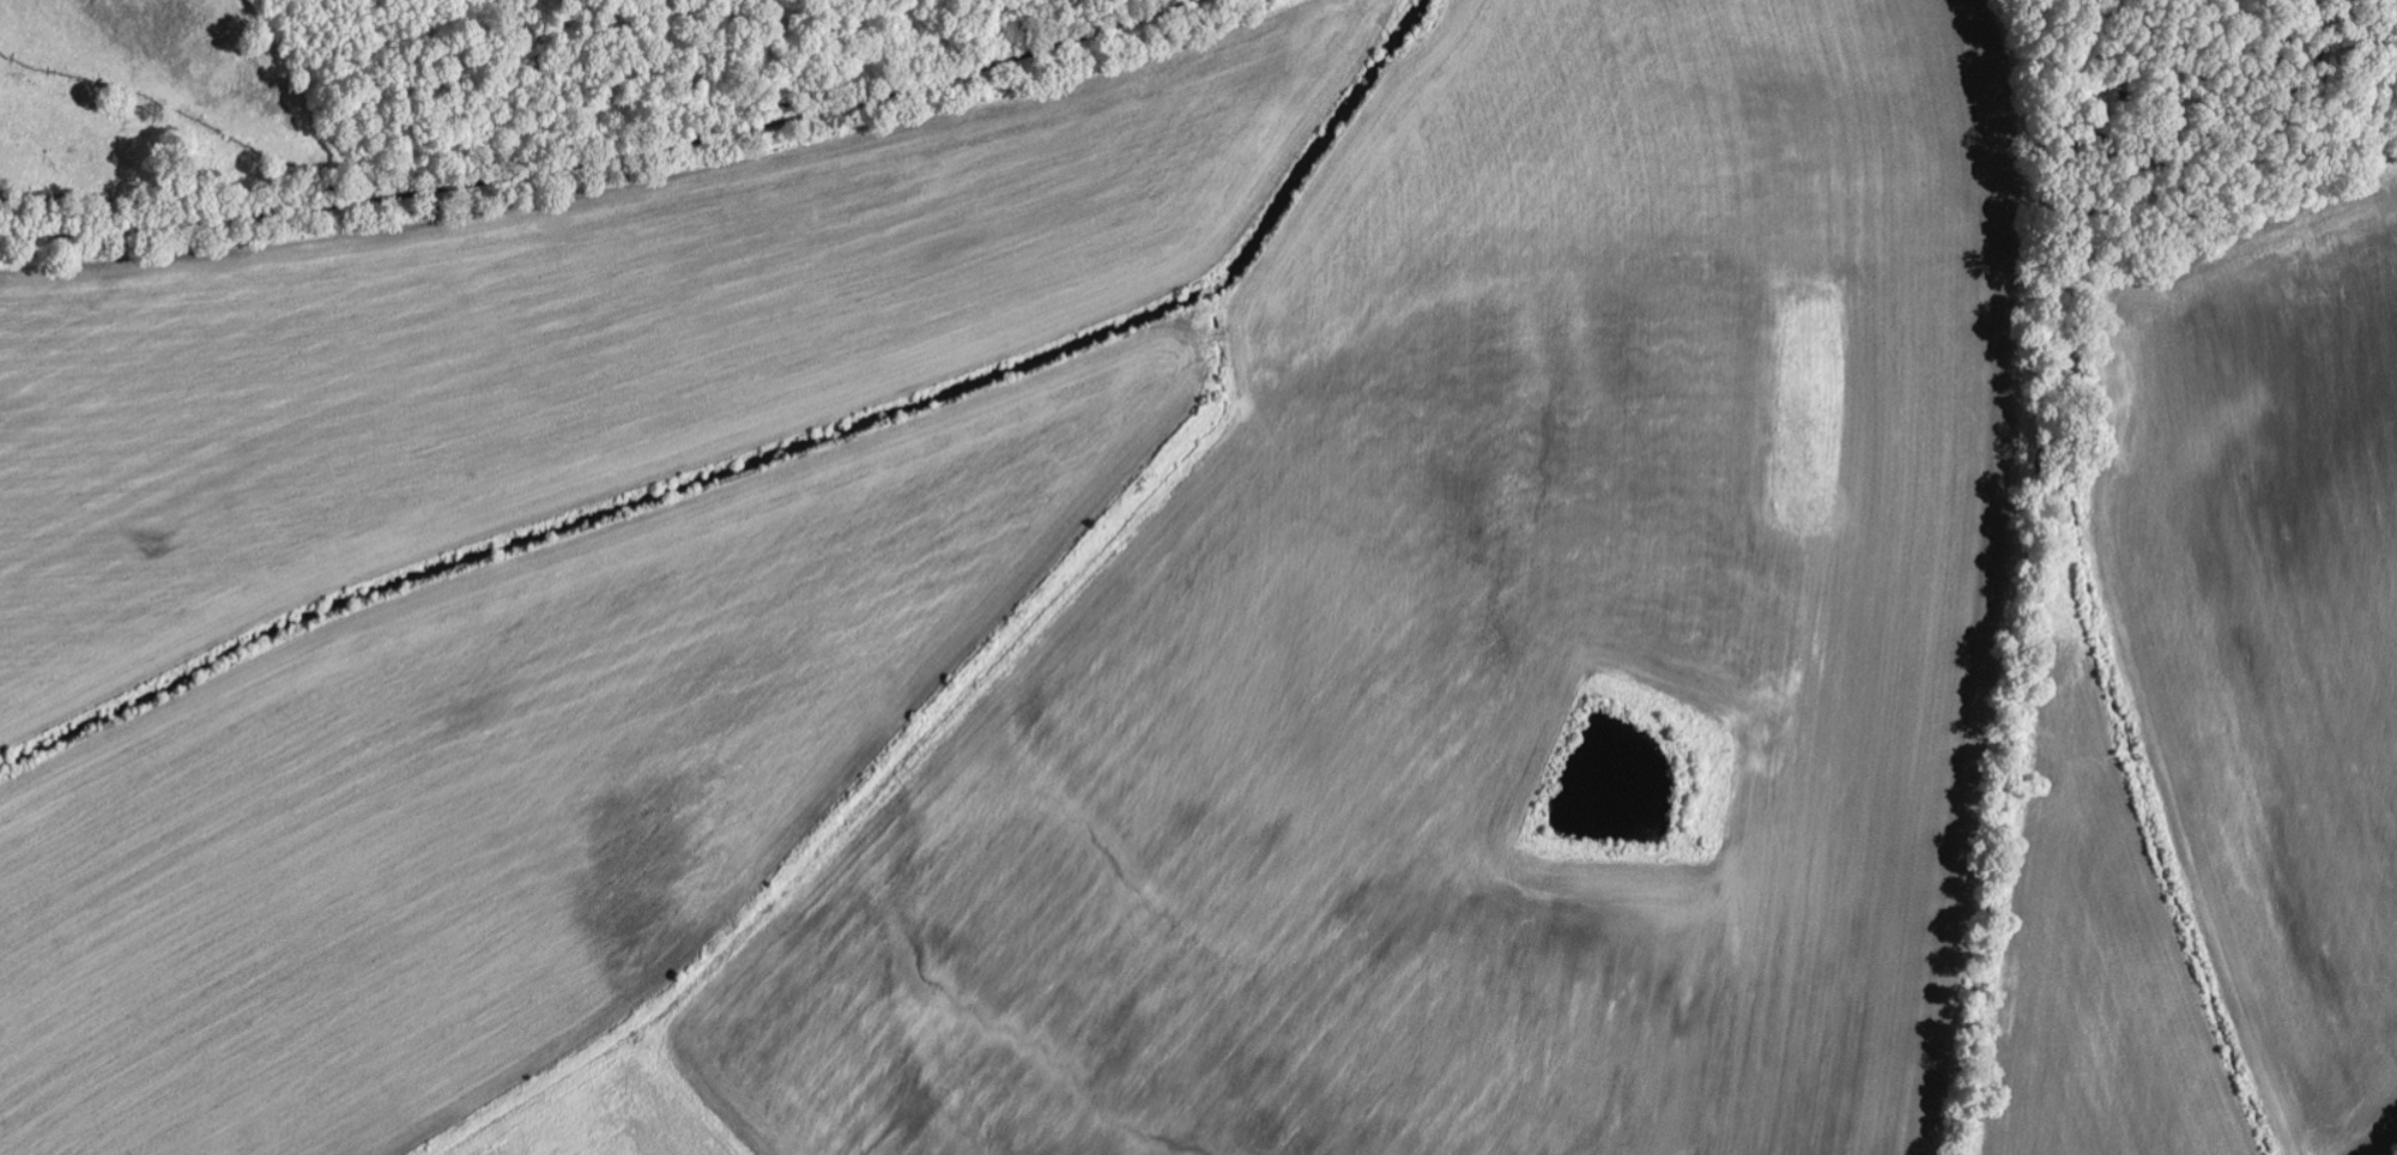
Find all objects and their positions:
road: (515, 140)
railway: (652, 157)

